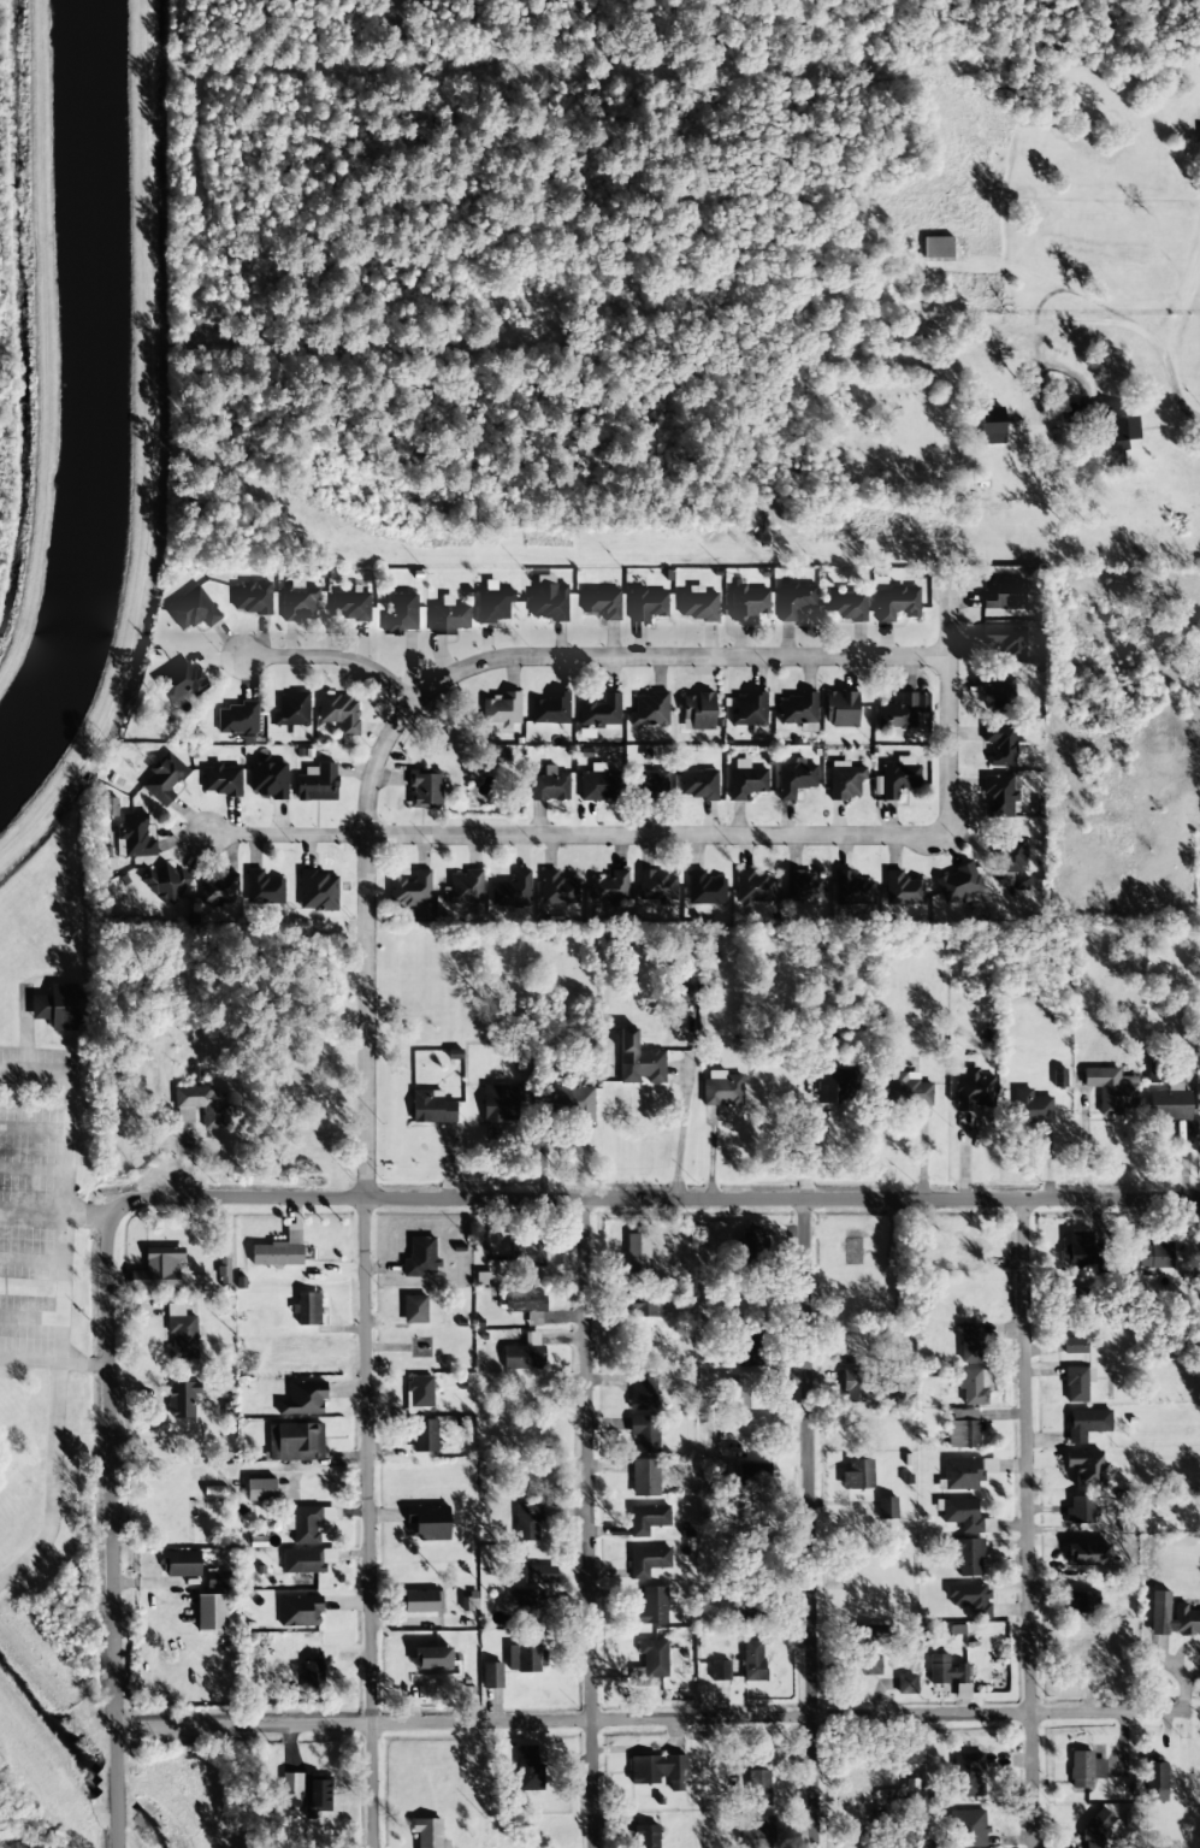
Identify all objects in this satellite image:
building: (938, 249)
building: (991, 425)
building: (1116, 432)
building: (1003, 594)
building: (252, 598)
building: (794, 600)
building: (297, 602)
building: (548, 602)
building: (747, 602)
building: (493, 603)
building: (602, 603)
building: (895, 603)
building: (646, 604)
building: (697, 604)
building: (350, 607)
building: (846, 607)
building: (191, 610)
building: (401, 615)
building: (448, 618)
building: (1005, 642)
road: (335, 657)
road: (675, 657)
building: (181, 681)
building: (1000, 696)
building: (499, 709)
building: (550, 709)
building: (797, 709)
building: (840, 709)
building: (650, 710)
building: (749, 710)
building: (292, 712)
building: (601, 712)
building: (697, 712)
building: (339, 713)
road: (948, 713)
building: (898, 714)
building: (238, 719)
building: (1000, 745)
building: (895, 778)
building: (794, 779)
building: (164, 780)
building: (220, 780)
building: (268, 780)
building: (844, 780)
building: (745, 781)
building: (317, 783)
building: (652, 783)
building: (697, 785)
building: (549, 786)
building: (595, 786)
building: (424, 789)
building: (998, 796)
road: (577, 836)
building: (134, 837)
building: (1011, 856)
building: (164, 882)
building: (1019, 882)
building: (958, 884)
building: (655, 886)
building: (802, 886)
building: (608, 887)
building: (262, 888)
building: (463, 888)
building: (557, 888)
building: (704, 888)
building: (755, 888)
building: (219, 890)
building: (410, 890)
building: (850, 890)
building: (902, 890)
building: (318, 891)
building: (512, 891)
building: (686, 993)
building: (55, 1006)
building: (639, 1061)
road: (64, 1073)
building: (1155, 1074)
building: (1059, 1079)
building: (833, 1084)
building: (722, 1088)
building: (908, 1090)
building: (1111, 1090)
building: (973, 1091)
building: (573, 1102)
building: (501, 1104)
building: (1170, 1104)
building: (205, 1105)
building: (431, 1108)
building: (1030, 1108)
road: (70, 1139)
road: (656, 1198)
road: (67, 1250)
building: (751, 1251)
building: (278, 1252)
building: (526, 1253)
building: (637, 1254)
building: (1154, 1254)
building: (420, 1257)
building: (158, 1270)
road: (366, 1270)
building: (1077, 1293)
building: (525, 1304)
building: (645, 1307)
building: (307, 1309)
building: (414, 1309)
road: (60, 1324)
building: (181, 1333)
building: (970, 1344)
building: (1074, 1346)
building: (749, 1348)
building: (522, 1354)
road: (66, 1363)
building: (1077, 1383)
building: (855, 1386)
building: (974, 1387)
building: (420, 1392)
building: (643, 1392)
building: (745, 1392)
building: (303, 1398)
building: (182, 1399)
building: (1086, 1424)
building: (963, 1429)
building: (644, 1434)
building: (424, 1436)
building: (295, 1442)
building: (1084, 1468)
building: (751, 1474)
building: (857, 1475)
building: (962, 1475)
building: (645, 1477)
building: (261, 1490)
building: (886, 1508)
building: (1080, 1511)
building: (965, 1516)
building: (646, 1519)
building: (428, 1521)
building: (527, 1522)
road: (587, 1522)
building: (308, 1523)
road: (809, 1523)
road: (1028, 1523)
road: (113, 1531)
building: (1063, 1552)
building: (1076, 1554)
building: (966, 1555)
building: (307, 1560)
building: (648, 1561)
building: (182, 1564)
building: (539, 1575)
building: (217, 1580)
building: (970, 1598)
building: (421, 1602)
building: (522, 1602)
building: (1082, 1602)
building: (652, 1606)
building: (300, 1611)
building: (211, 1613)
building: (1171, 1617)
building: (865, 1649)
building: (525, 1658)
building: (432, 1659)
building: (752, 1661)
building: (650, 1663)
building: (720, 1671)
building: (945, 1671)
building: (491, 1676)
building: (312, 1677)
building: (906, 1684)
road: (650, 1719)
building: (528, 1770)
building: (1084, 1770)
building: (658, 1771)
building: (968, 1775)
building: (1154, 1782)
building: (291, 1788)
building: (757, 1788)
building: (905, 1791)
building: (318, 1796)
building: (968, 1829)
building: (1096, 1829)
building: (428, 1834)
building: (757, 1835)
building: (646, 1836)

